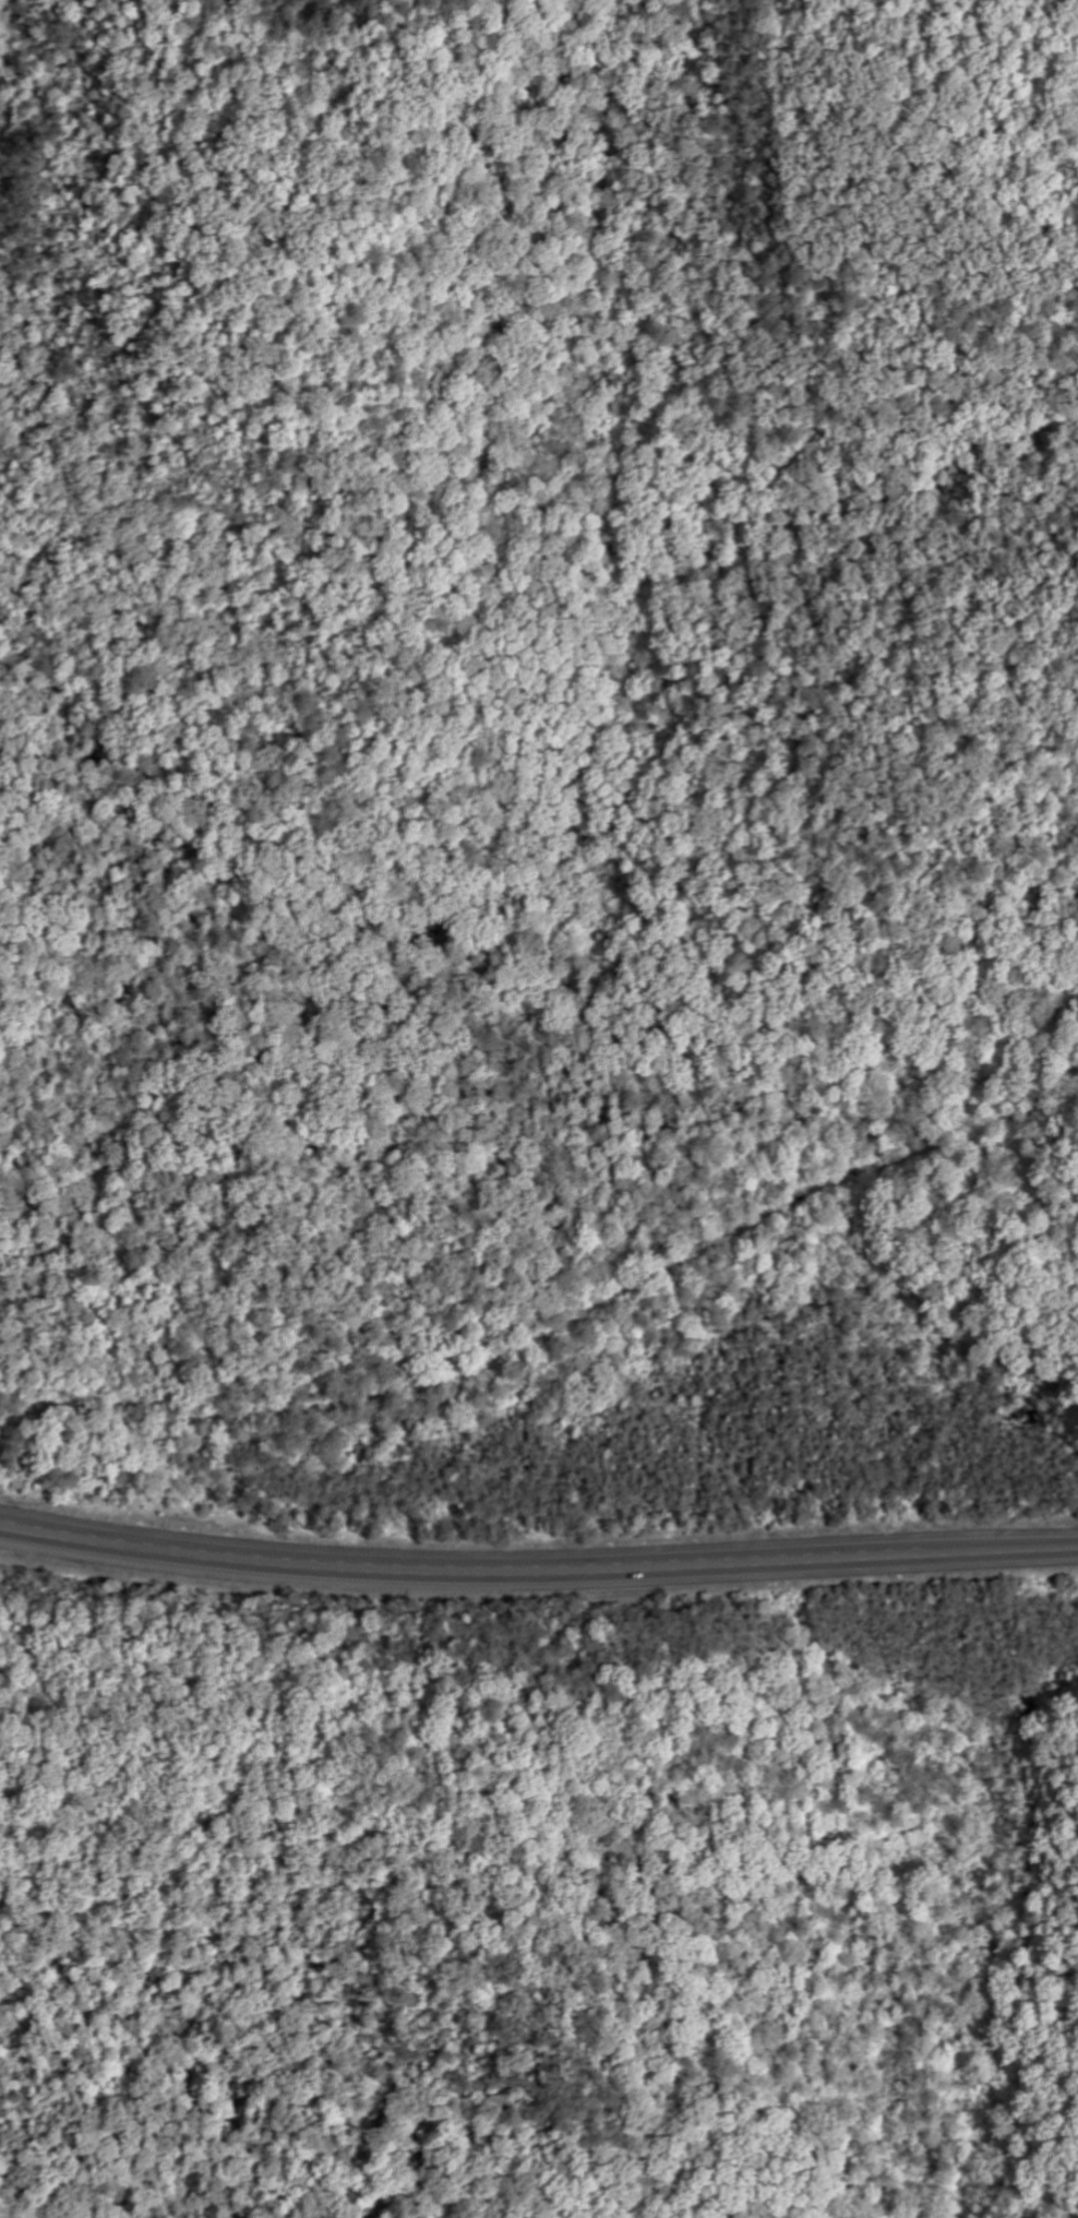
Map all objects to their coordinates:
road: (537, 1574)

